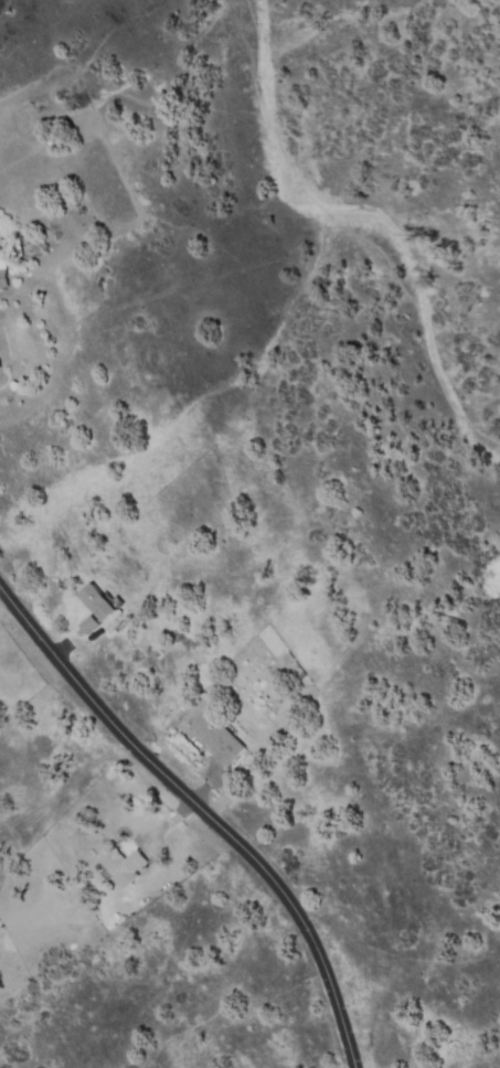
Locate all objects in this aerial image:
building: (3, 269)
building: (98, 602)
building: (89, 624)
building: (217, 738)
road: (201, 812)
building: (124, 865)

